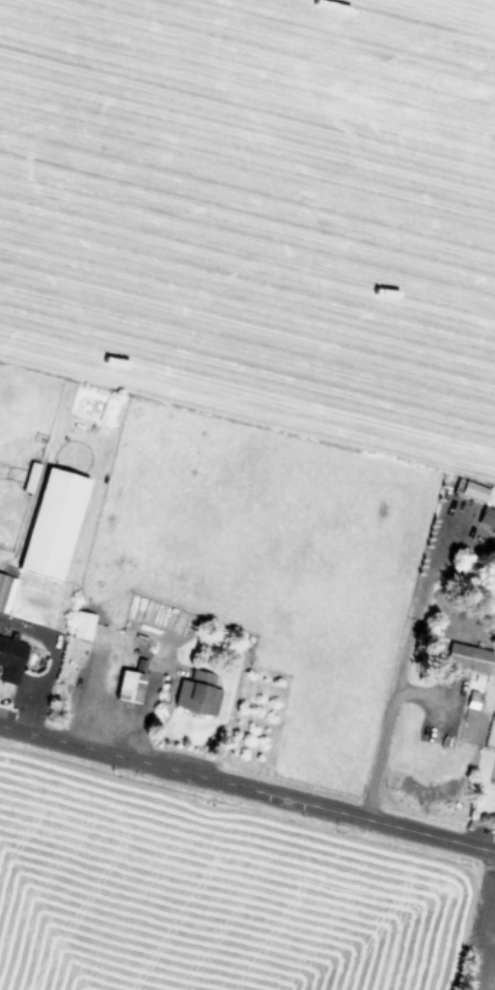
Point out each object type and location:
crop: (253, 380)
building: (31, 477)
building: (487, 519)
building: (54, 522)
building: (6, 591)
building: (84, 625)
building: (470, 657)
building: (11, 659)
road: (399, 677)
building: (131, 685)
building: (198, 693)
road: (247, 787)
crop: (220, 893)
road: (486, 942)

